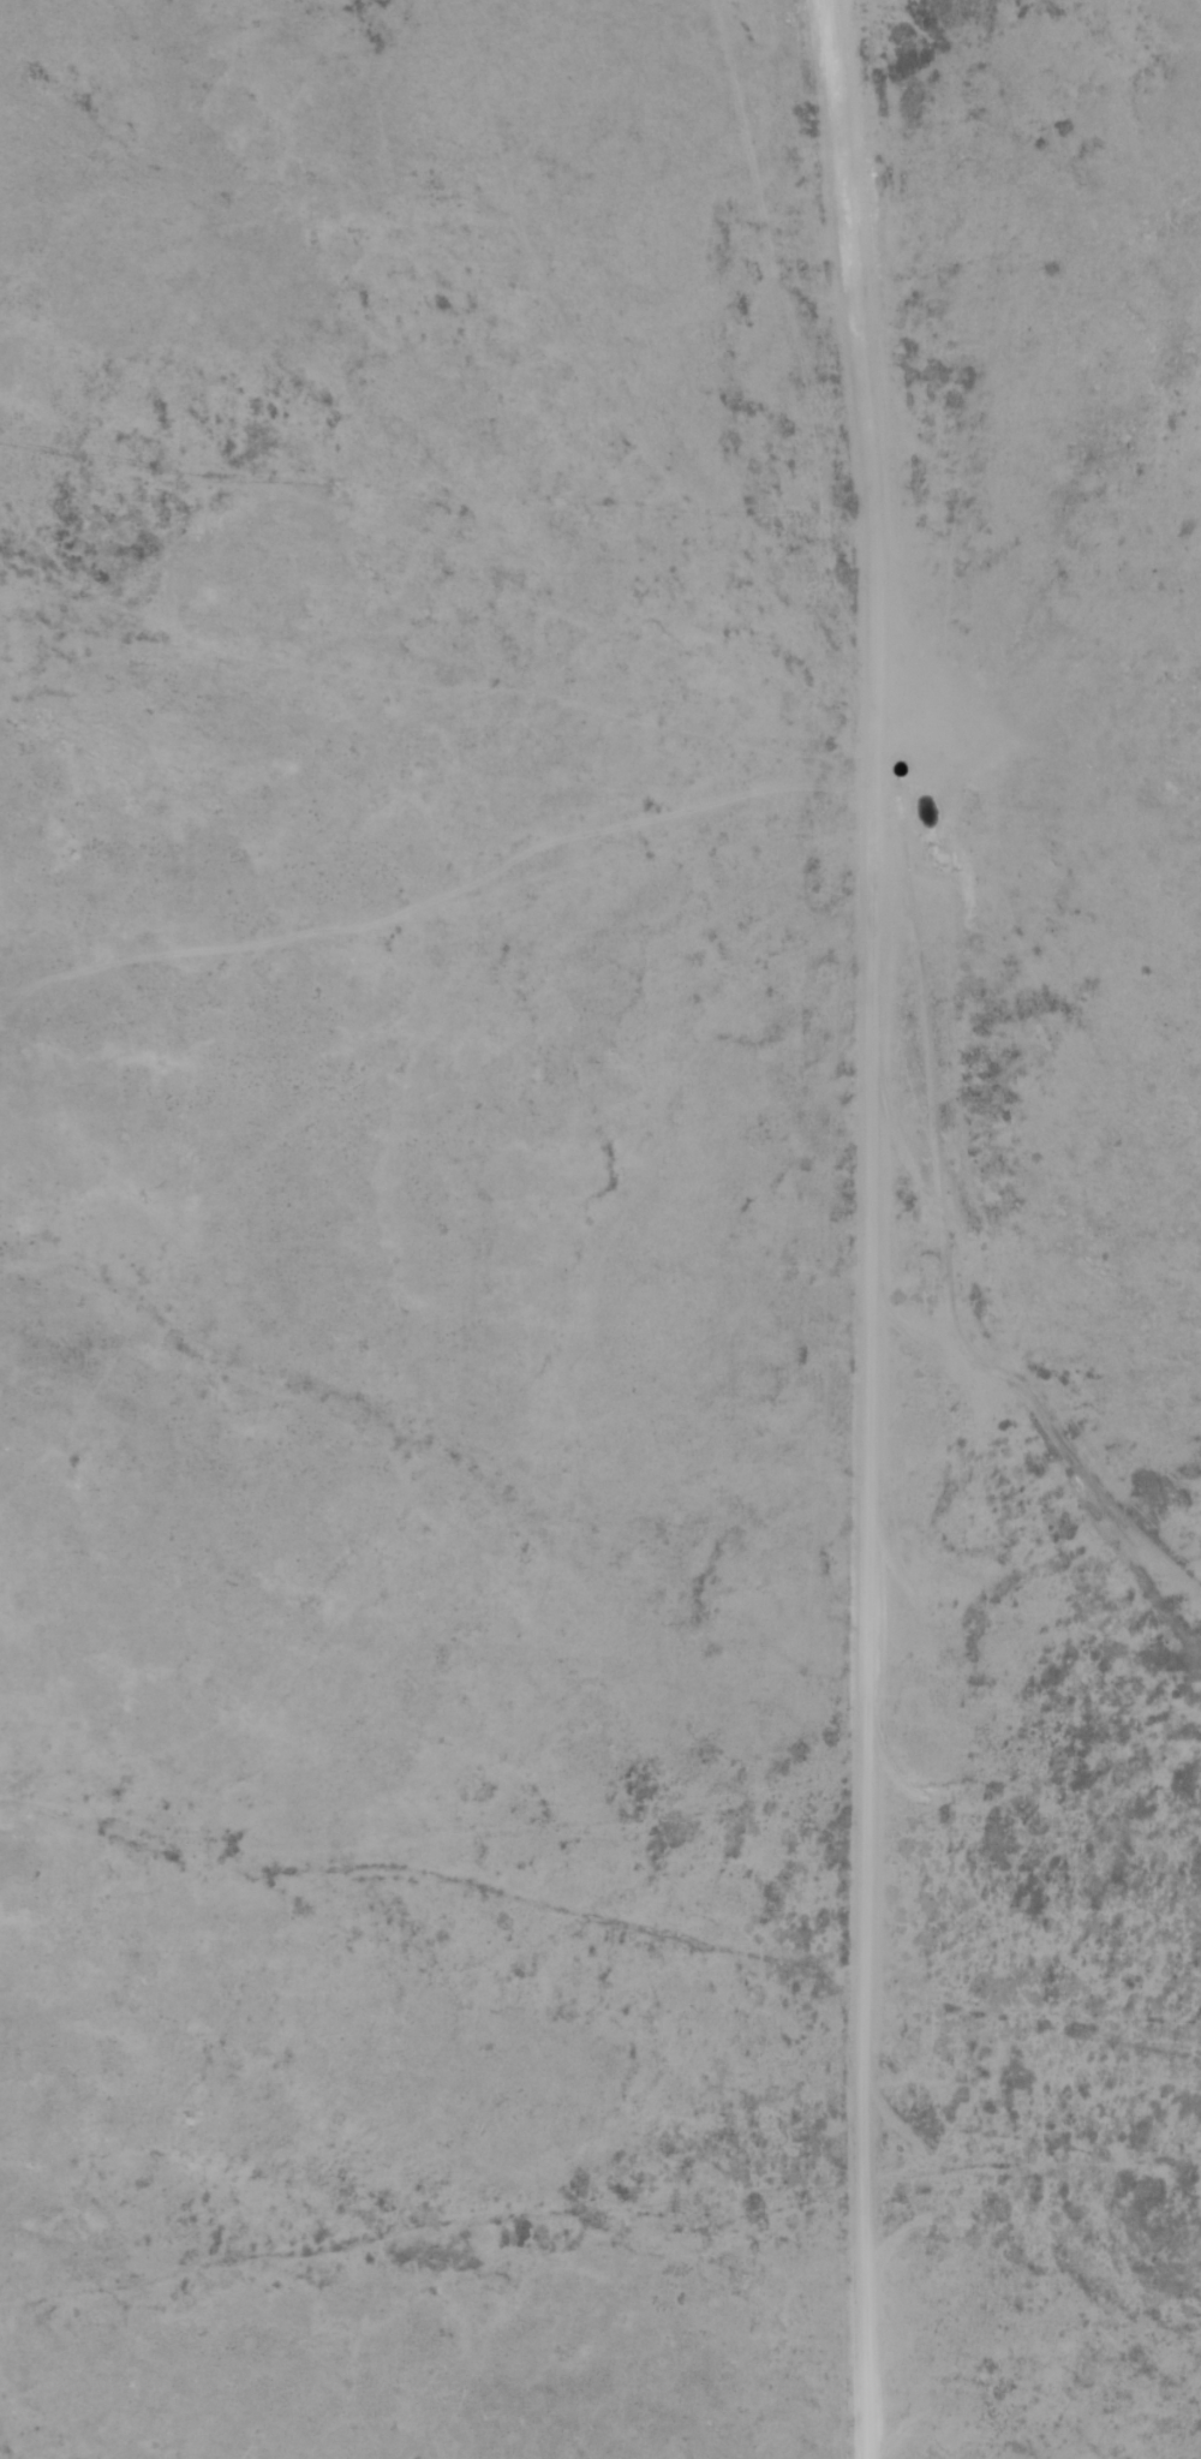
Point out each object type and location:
road: (895, 1226)

